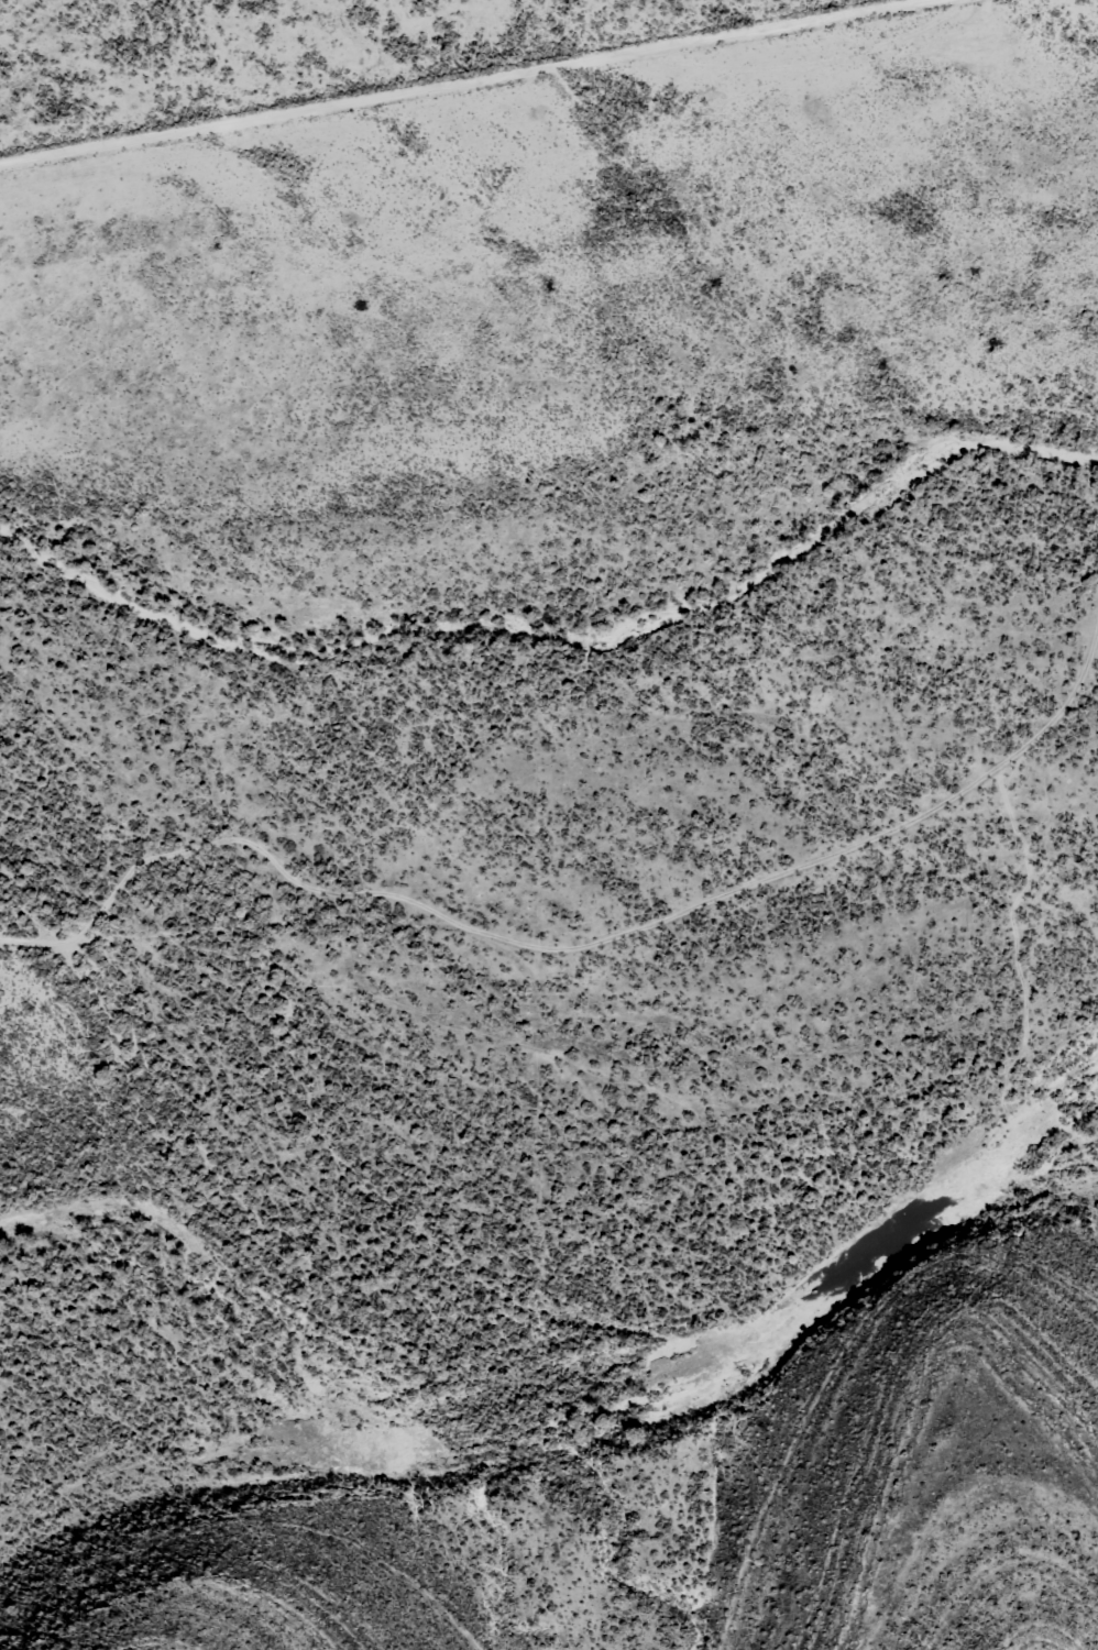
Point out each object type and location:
road: (549, 105)
road: (628, 934)

